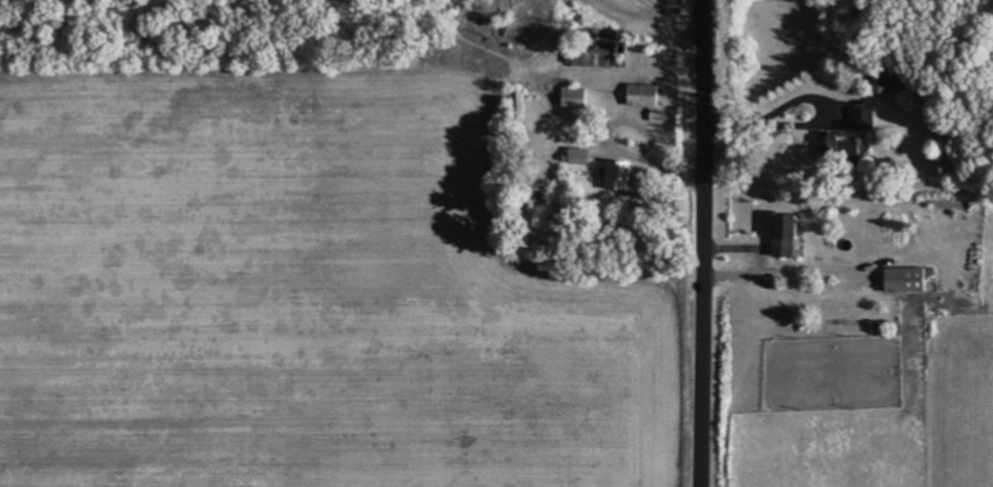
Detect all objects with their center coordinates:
crop: (645, 18)
building: (591, 52)
building: (881, 80)
building: (638, 94)
building: (569, 96)
building: (513, 108)
road: (774, 114)
building: (852, 117)
building: (830, 145)
building: (571, 155)
building: (614, 175)
building: (535, 192)
building: (777, 235)
road: (700, 243)
building: (901, 279)
crop: (309, 280)

